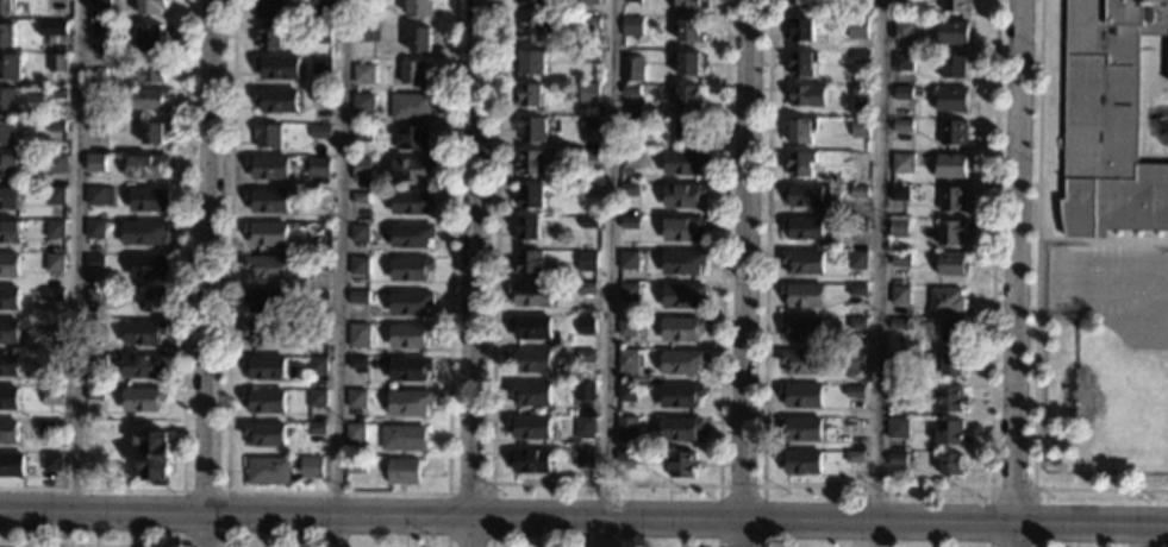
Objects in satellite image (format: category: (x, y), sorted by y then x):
building: (62, 0)
building: (631, 0)
building: (364, 1)
building: (862, 1)
building: (101, 2)
building: (533, 2)
building: (589, 2)
building: (691, 4)
building: (804, 4)
building: (323, 5)
building: (956, 5)
building: (7, 6)
building: (151, 6)
building: (270, 7)
building: (420, 7)
building: (631, 25)
building: (591, 26)
building: (60, 27)
building: (101, 29)
building: (535, 29)
building: (857, 29)
building: (904, 29)
building: (801, 30)
building: (691, 31)
building: (7, 32)
building: (321, 32)
building: (367, 32)
building: (952, 33)
building: (270, 34)
building: (151, 36)
building: (420, 38)
building: (591, 56)
building: (99, 57)
building: (861, 57)
building: (115, 58)
building: (58, 62)
building: (532, 62)
building: (904, 62)
building: (687, 63)
building: (802, 63)
building: (321, 64)
building: (11, 65)
building: (276, 65)
building: (955, 65)
building: (152, 69)
building: (633, 69)
building: (414, 71)
building: (363, 74)
building: (630, 88)
building: (58, 92)
building: (588, 92)
building: (860, 92)
building: (99, 93)
building: (902, 93)
building: (320, 95)
building: (530, 95)
building: (806, 95)
building: (7, 96)
building: (688, 96)
building: (151, 98)
building: (277, 99)
building: (951, 99)
building: (363, 102)
building: (410, 106)
building: (1108, 119)
building: (589, 121)
building: (630, 122)
building: (57, 125)
building: (902, 126)
building: (96, 127)
building: (530, 127)
building: (860, 127)
building: (320, 131)
building: (689, 131)
building: (801, 131)
building: (7, 132)
building: (155, 132)
building: (362, 133)
building: (954, 133)
building: (268, 136)
building: (413, 137)
building: (588, 155)
building: (860, 157)
building: (633, 158)
building: (96, 162)
building: (530, 162)
building: (683, 162)
building: (57, 163)
building: (801, 163)
building: (902, 163)
building: (11, 164)
building: (148, 164)
building: (318, 165)
building: (950, 165)
building: (269, 166)
building: (361, 168)
building: (413, 168)
building: (588, 188)
building: (629, 188)
building: (858, 191)
building: (899, 193)
building: (56, 195)
building: (99, 195)
building: (320, 195)
building: (683, 195)
building: (807, 195)
building: (530, 196)
building: (11, 197)
building: (360, 197)
building: (150, 199)
building: (951, 199)
building: (268, 201)
building: (412, 201)
building: (588, 221)
building: (627, 222)
building: (858, 224)
building: (95, 227)
building: (899, 227)
building: (56, 228)
building: (527, 228)
building: (682, 228)
building: (804, 228)
building: (11, 231)
building: (146, 231)
building: (318, 232)
building: (358, 232)
building: (950, 232)
building: (268, 233)
building: (412, 234)
road: (1103, 238)
road: (79, 254)
building: (586, 254)
building: (900, 259)
building: (95, 260)
building: (527, 260)
building: (629, 260)
building: (857, 260)
building: (55, 262)
building: (318, 262)
building: (682, 262)
building: (804, 262)
building: (8, 264)
building: (952, 264)
building: (149, 265)
building: (266, 265)
building: (358, 265)
building: (411, 268)
road: (211, 273)
road: (339, 273)
road: (474, 273)
road: (606, 273)
road: (747, 273)
road: (875, 273)
road: (1017, 273)
park: (1067, 279)
building: (583, 288)
building: (857, 290)
building: (627, 291)
building: (531, 293)
building: (55, 295)
building: (95, 295)
building: (360, 295)
building: (804, 295)
building: (900, 295)
building: (682, 296)
building: (10, 297)
building: (157, 300)
building: (267, 300)
building: (410, 300)
building: (318, 301)
building: (947, 301)
road: (1036, 310)
building: (857, 322)
building: (898, 323)
building: (52, 326)
building: (586, 326)
building: (626, 326)
building: (531, 327)
building: (801, 328)
building: (318, 329)
building: (682, 329)
building: (10, 331)
building: (94, 331)
building: (952, 331)
building: (144, 332)
building: (266, 332)
building: (358, 334)
building: (410, 334)
road: (185, 337)
building: (586, 357)
building: (898, 357)
building: (54, 358)
building: (856, 359)
building: (95, 360)
building: (531, 360)
building: (357, 361)
building: (681, 361)
building: (802, 361)
building: (947, 363)
building: (8, 364)
building: (627, 364)
building: (144, 365)
building: (317, 365)
building: (267, 366)
building: (410, 369)
building: (585, 390)
building: (626, 391)
building: (855, 392)
building: (52, 394)
building: (95, 394)
building: (530, 394)
building: (898, 394)
building: (680, 395)
building: (801, 395)
building: (8, 397)
building: (317, 397)
building: (357, 397)
building: (144, 398)
building: (264, 400)
building: (949, 400)
building: (408, 402)
park: (1103, 402)
building: (49, 425)
building: (530, 426)
building: (583, 426)
building: (855, 427)
building: (898, 427)
building: (317, 428)
building: (626, 428)
building: (680, 428)
building: (800, 429)
building: (8, 430)
building: (355, 432)
building: (266, 433)
building: (951, 434)
building: (402, 436)
building: (155, 455)
building: (625, 455)
building: (854, 457)
building: (583, 458)
building: (900, 459)
building: (529, 460)
building: (52, 461)
building: (800, 461)
building: (949, 463)
building: (11, 464)
building: (682, 464)
building: (356, 465)
building: (312, 466)
building: (270, 470)
building: (404, 470)
road: (606, 484)
road: (739, 485)
road: (474, 486)
road: (876, 488)
road: (1011, 489)
road: (225, 491)
road: (337, 492)
road: (583, 516)
road: (1138, 535)
road: (90, 545)

